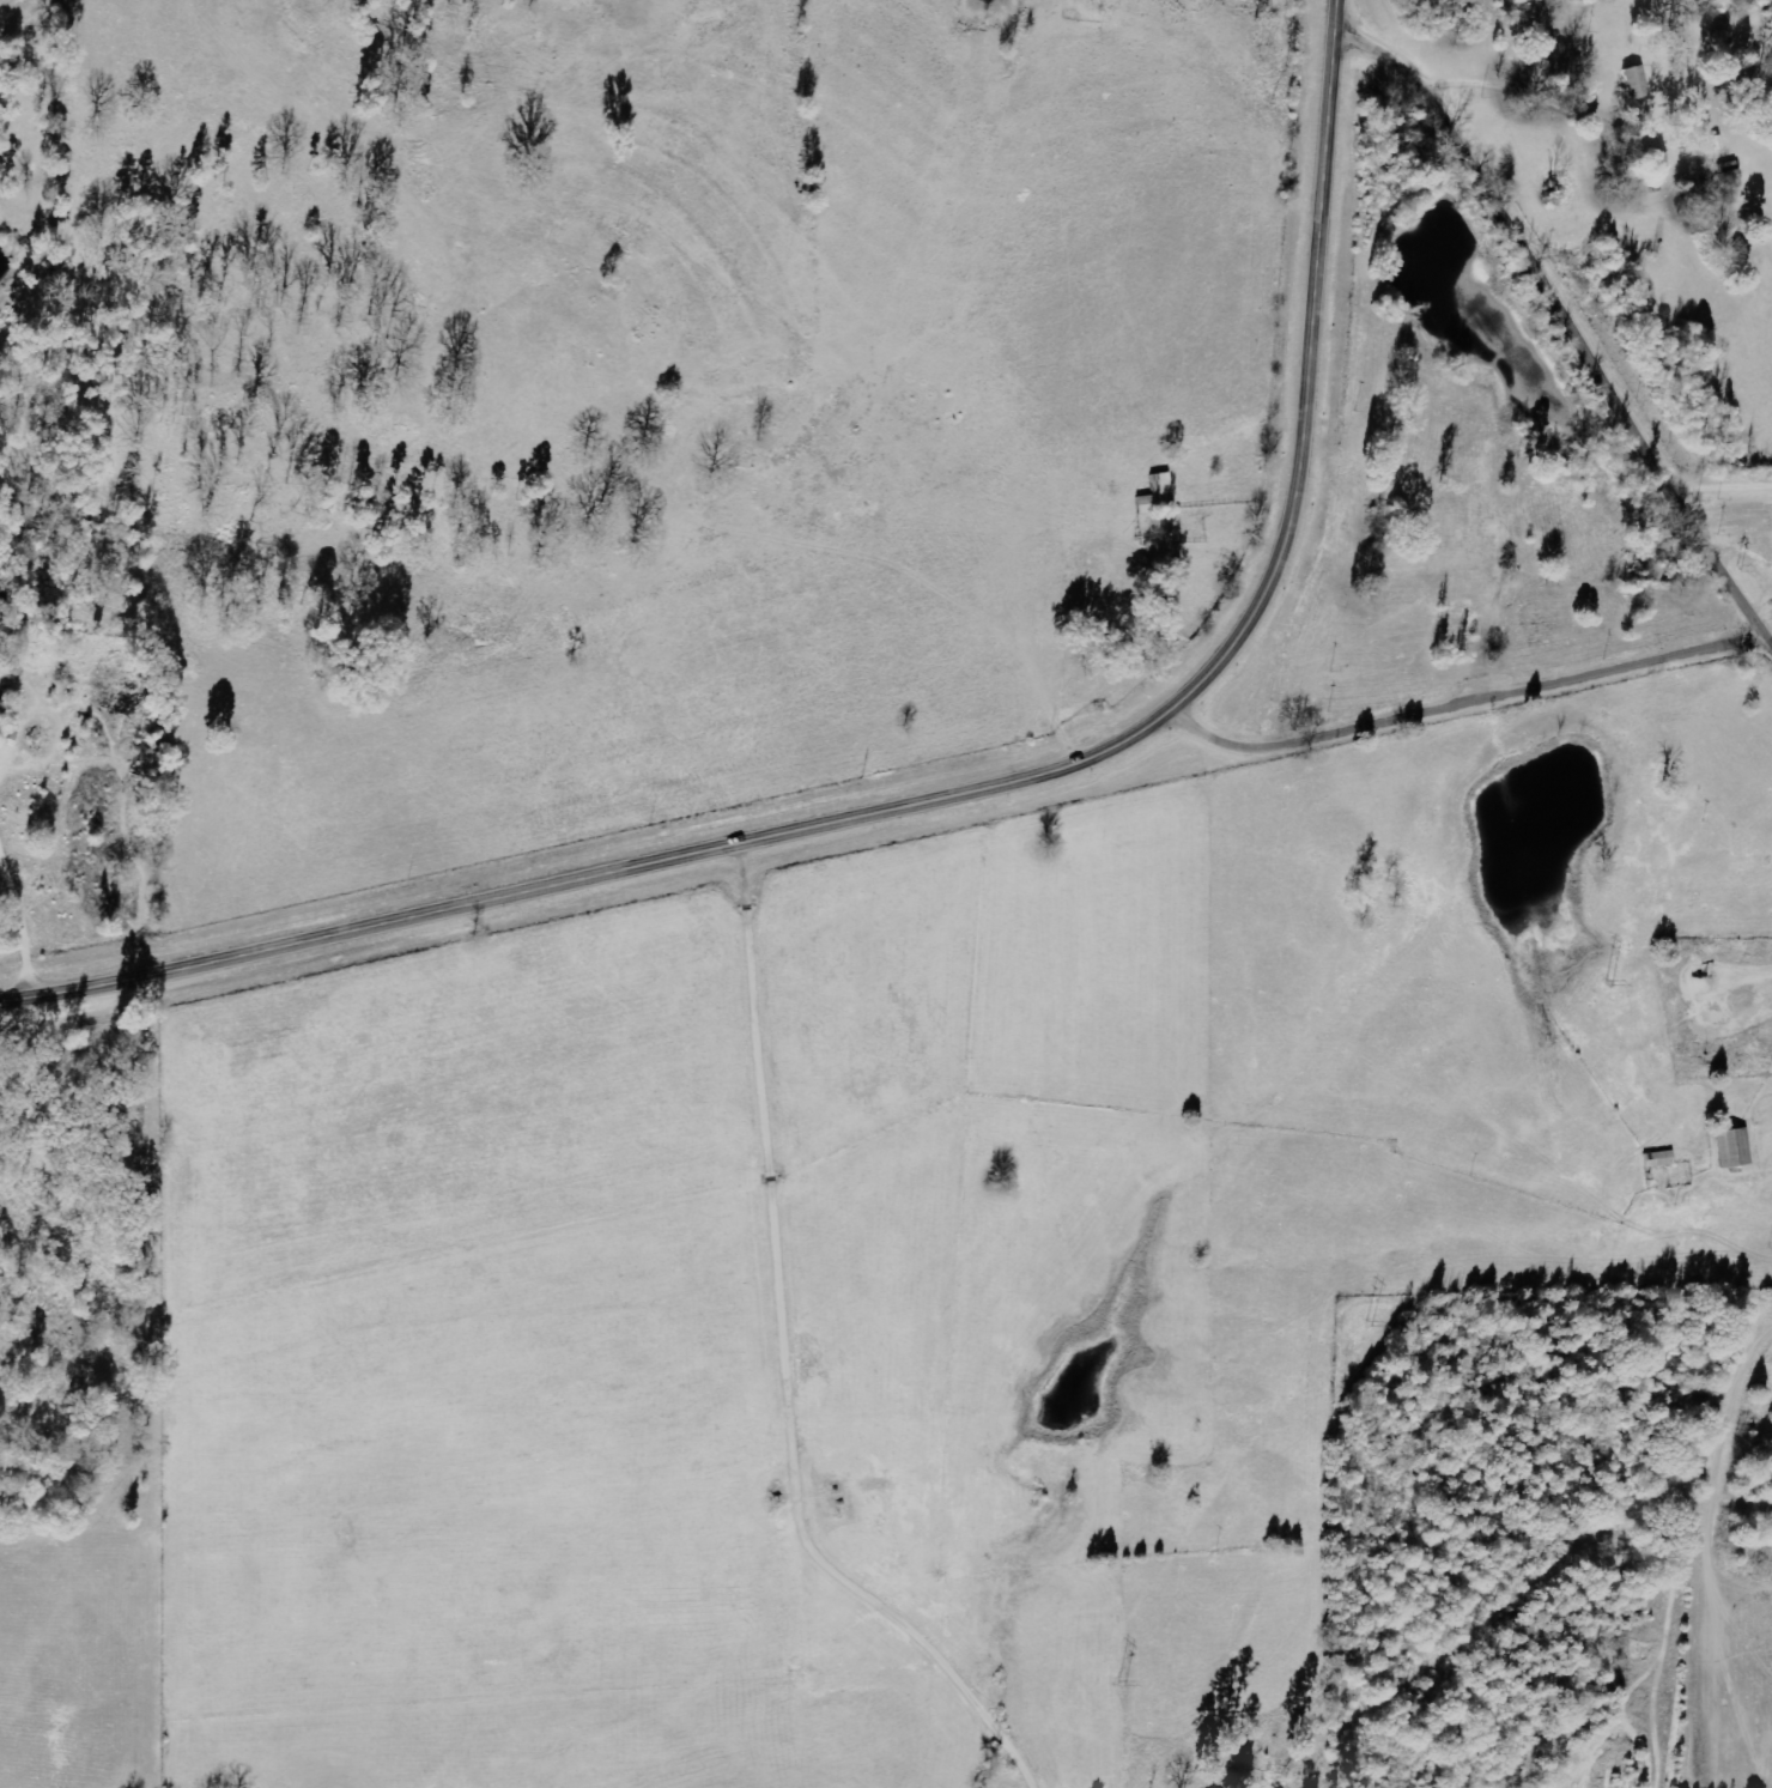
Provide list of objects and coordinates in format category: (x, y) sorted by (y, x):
road: (1770, 4)
building: (1634, 83)
road: (1525, 98)
building: (1731, 180)
road: (1550, 280)
building: (1157, 496)
building: (1556, 535)
road: (1475, 566)
road: (1761, 586)
road: (1749, 598)
road: (1469, 709)
road: (959, 794)
power tower: (1613, 983)
building: (1732, 1147)
road: (771, 1162)
power tower: (1372, 1323)
road: (1710, 1519)
power tower: (1122, 1686)

